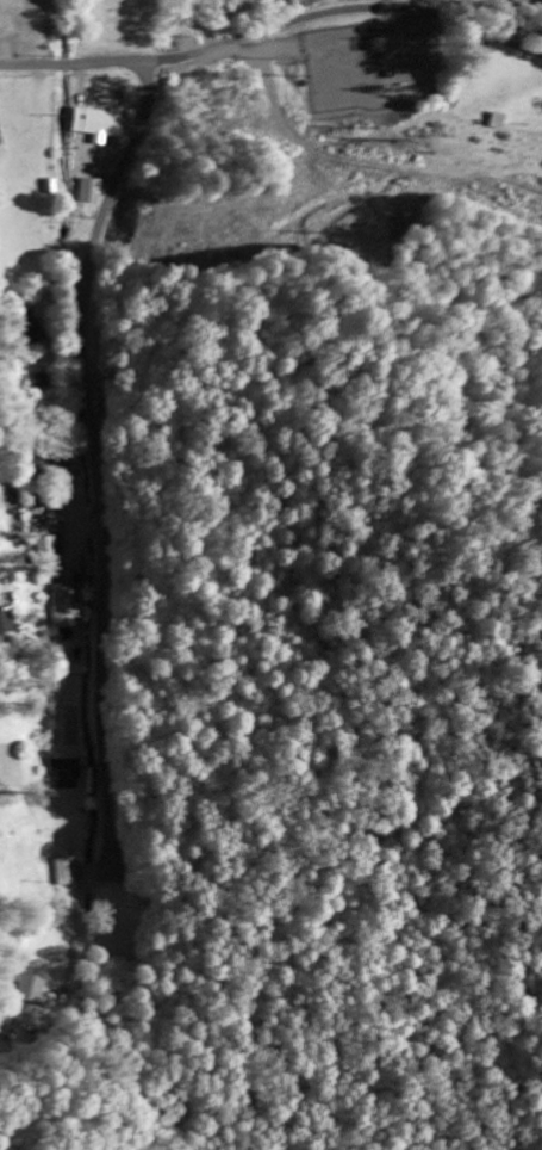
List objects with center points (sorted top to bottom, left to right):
road: (274, 26)
building: (96, 126)
building: (50, 188)
building: (91, 193)
road: (95, 459)
building: (45, 546)
building: (64, 610)
building: (67, 775)
building: (63, 873)
building: (30, 990)

